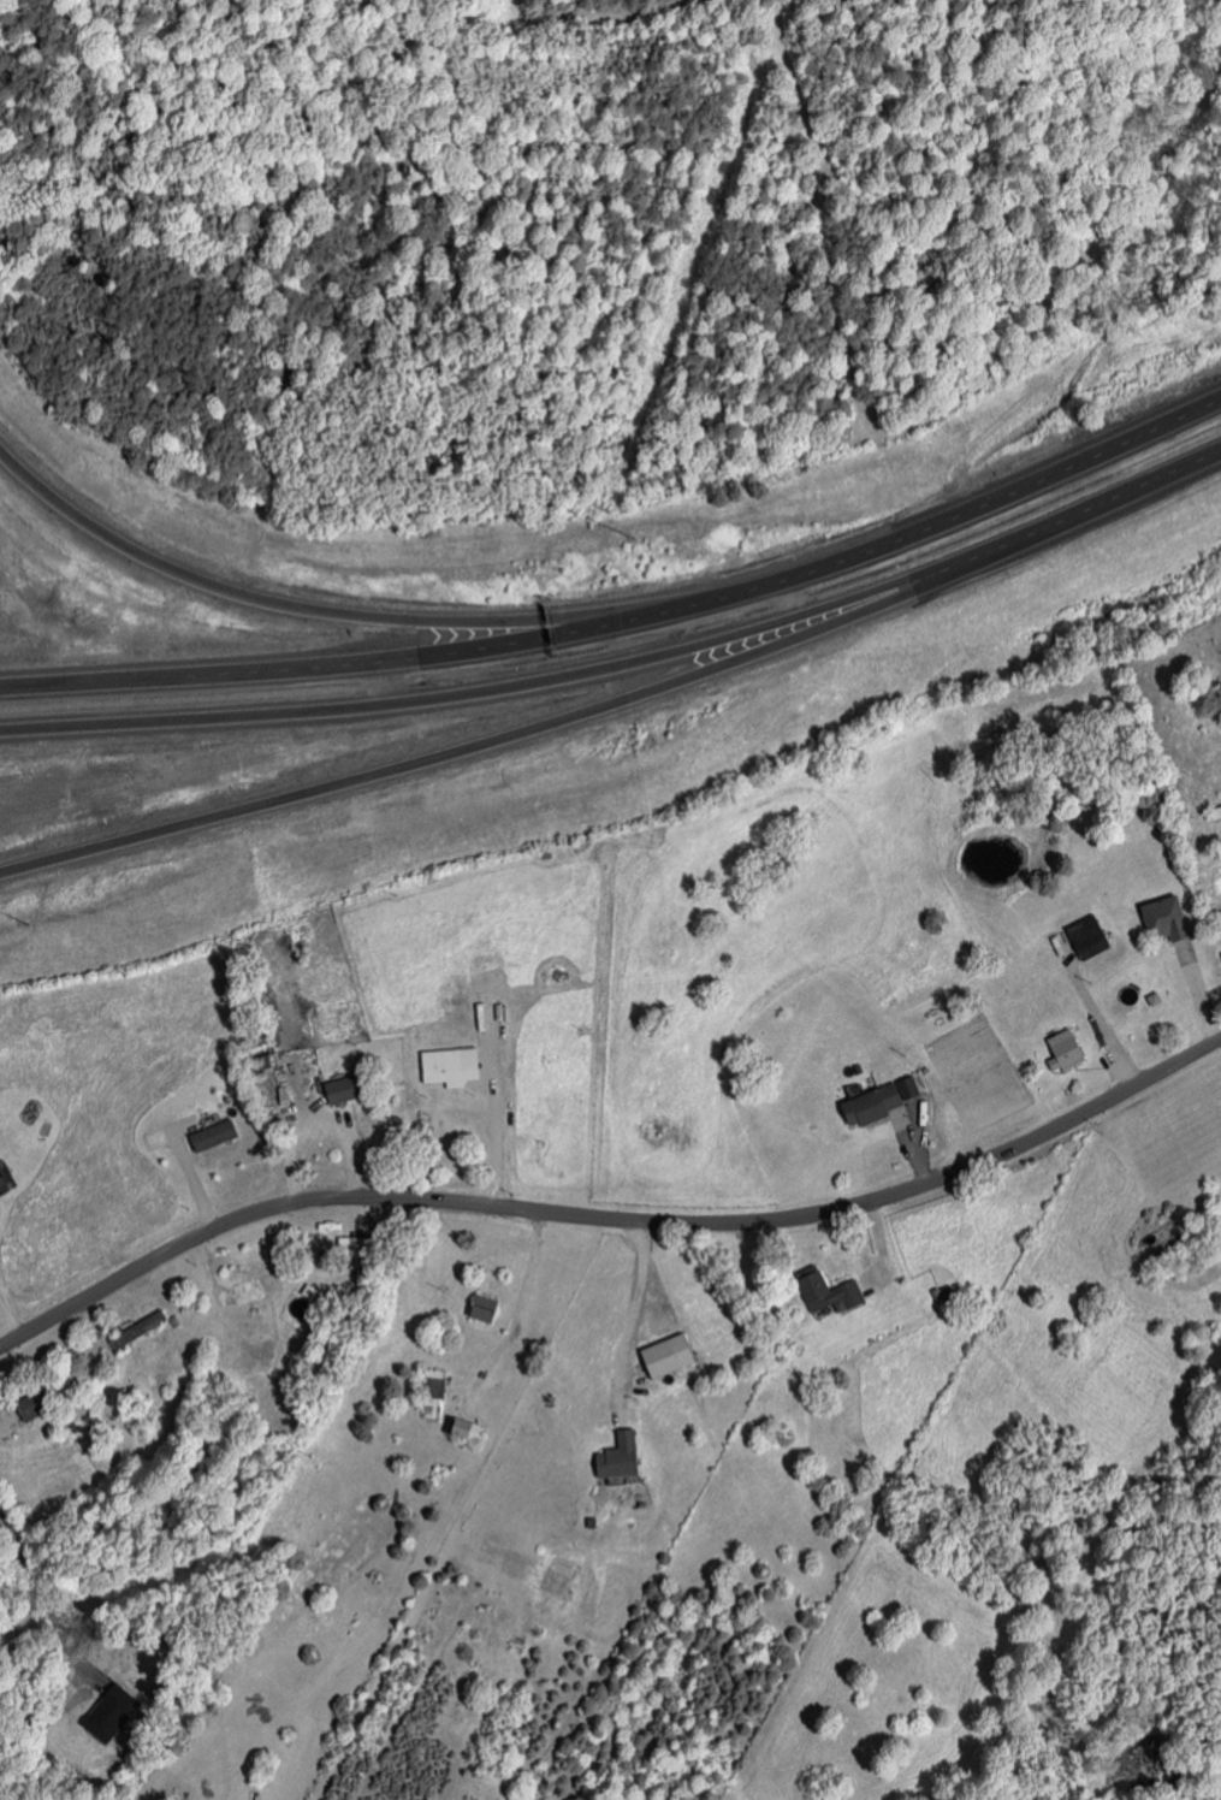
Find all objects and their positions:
road: (971, 508)
road: (1071, 519)
road: (336, 614)
road: (358, 662)
road: (466, 693)
road: (468, 750)
building: (1161, 918)
building: (1085, 937)
building: (1061, 1052)
building: (446, 1067)
building: (336, 1091)
building: (281, 1095)
building: (875, 1102)
road: (316, 1121)
road: (497, 1131)
building: (211, 1136)
building: (1, 1179)
road: (612, 1218)
building: (825, 1292)
building: (481, 1309)
road: (11, 1311)
road: (634, 1318)
building: (137, 1328)
building: (664, 1356)
building: (432, 1395)
building: (464, 1431)
building: (616, 1457)
road: (51, 1603)
building: (108, 1719)

